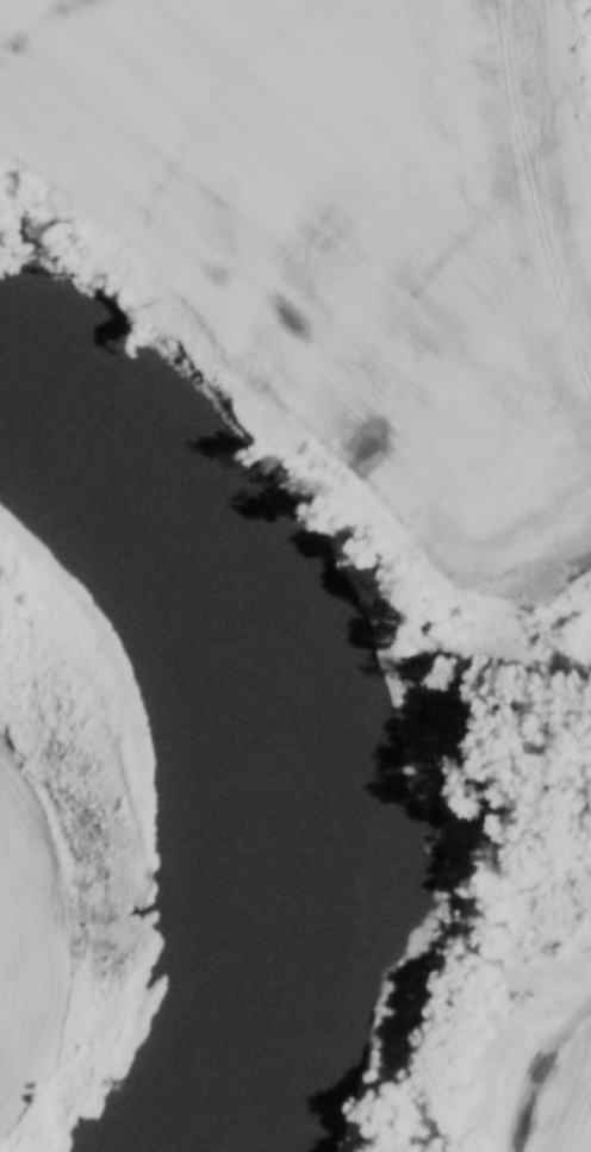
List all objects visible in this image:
river: (222, 758)
road: (533, 1061)

